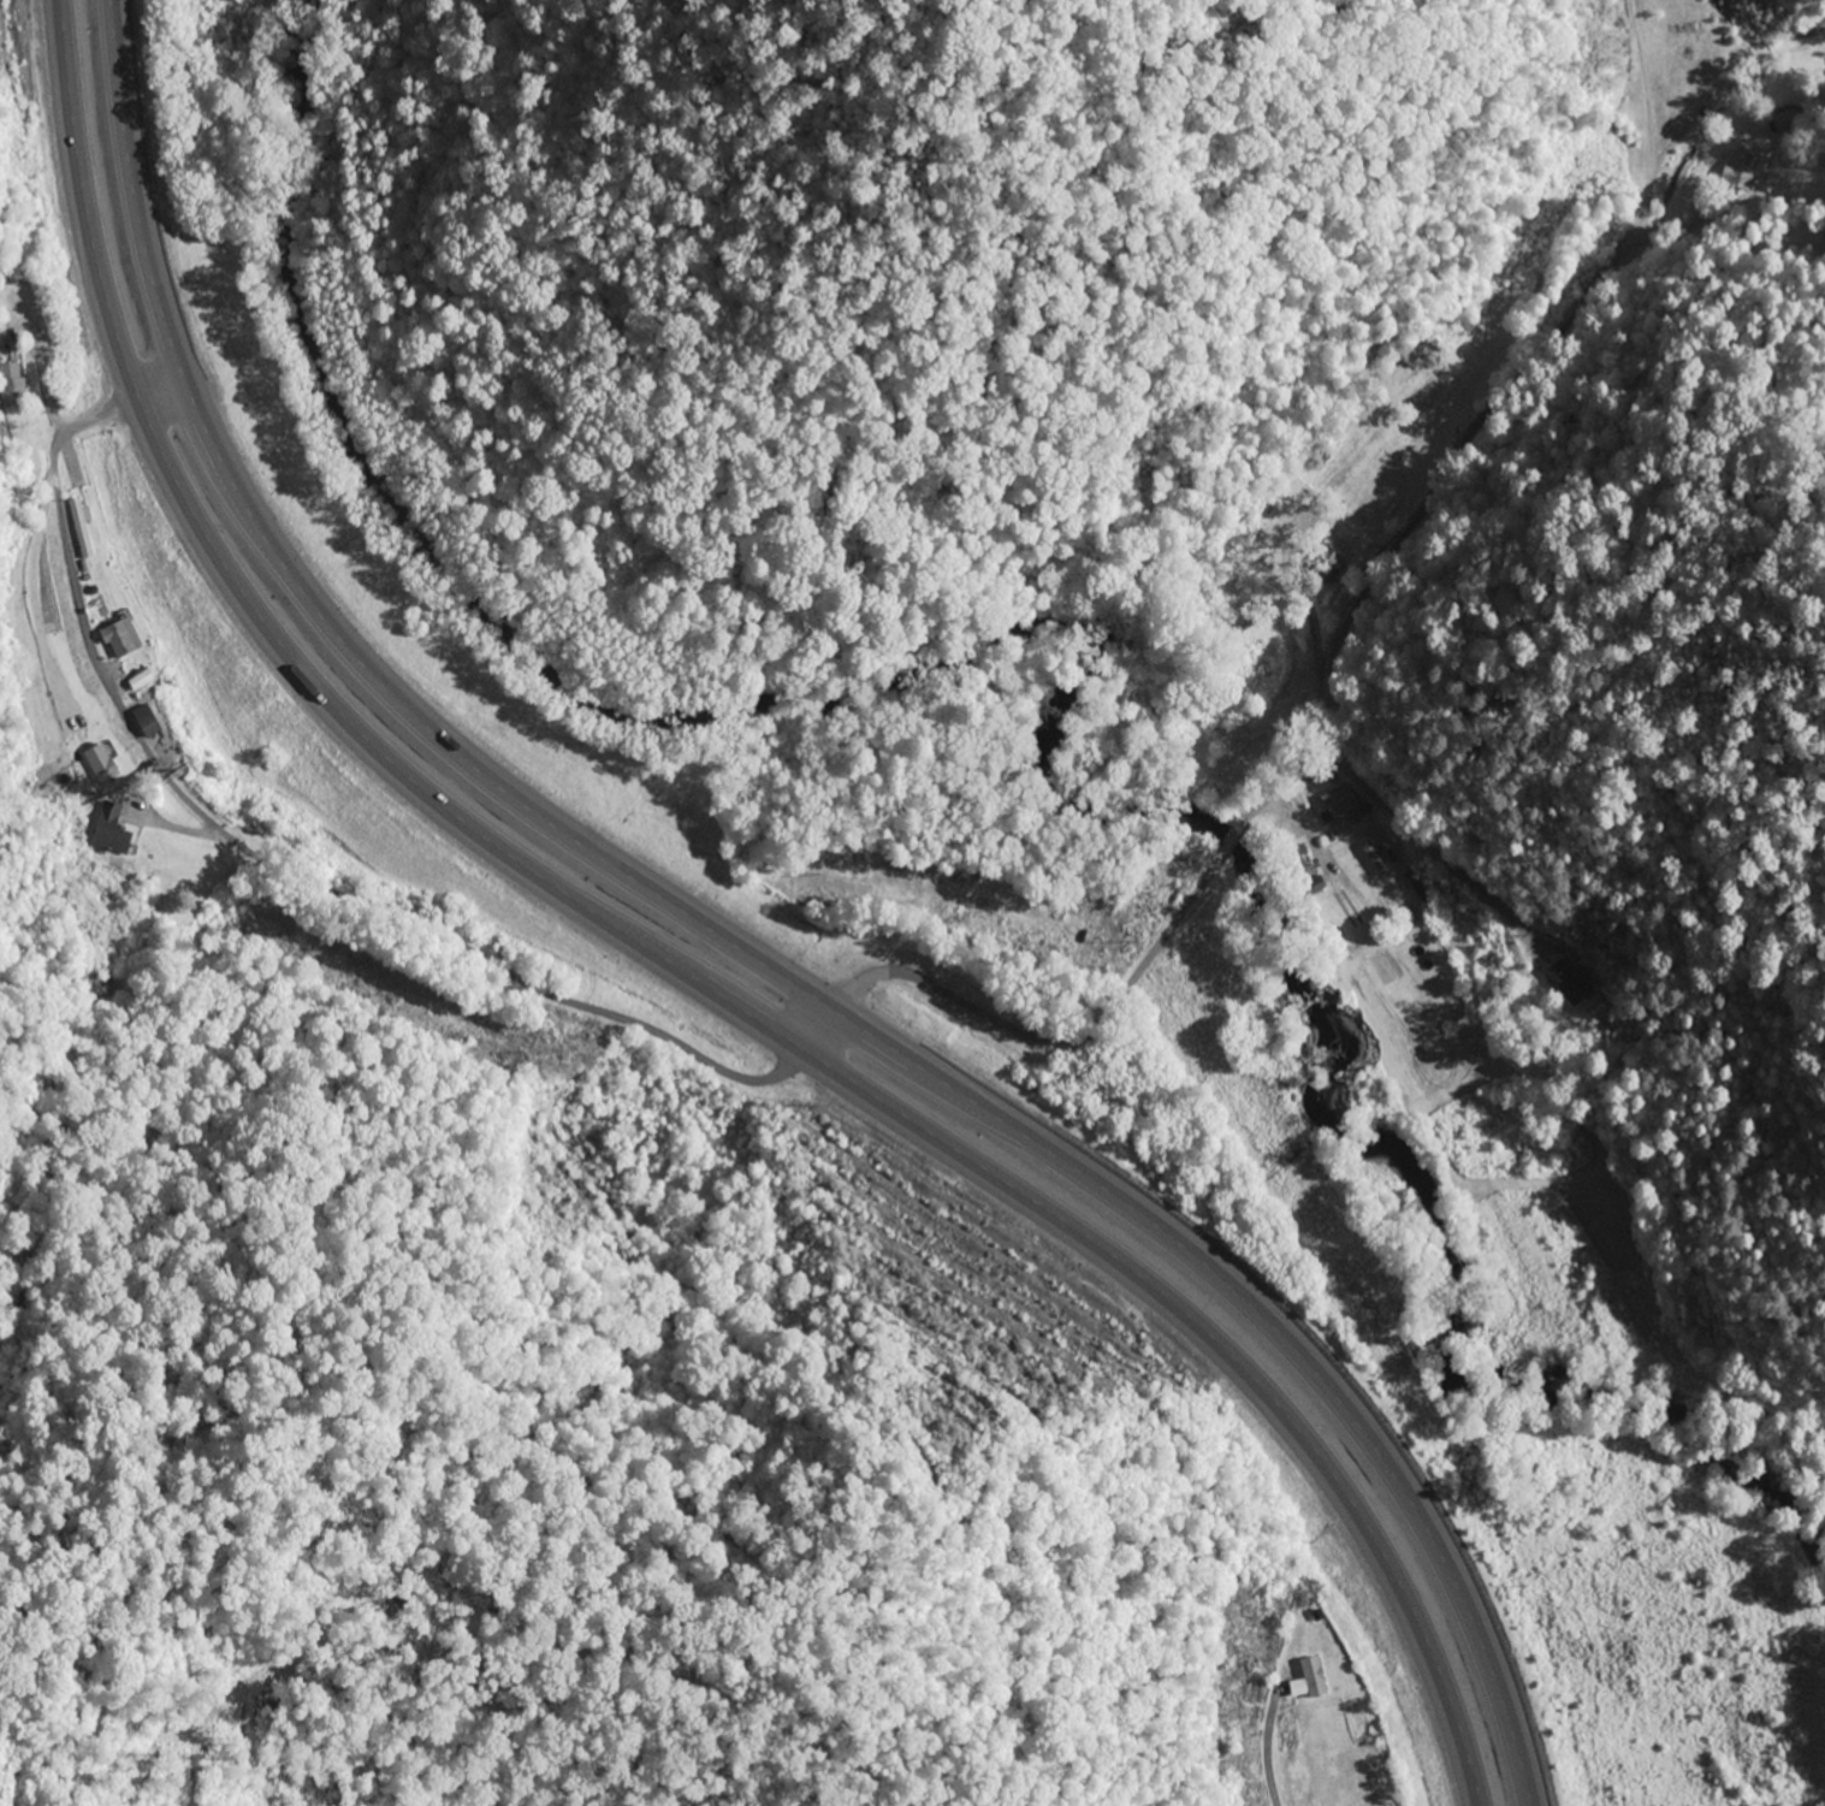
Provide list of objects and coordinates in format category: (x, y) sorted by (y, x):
building: (1782, 123)
building: (1741, 170)
building: (81, 528)
building: (1323, 566)
building: (1339, 803)
building: (1375, 859)
building: (1416, 887)
building: (1404, 917)
road: (731, 953)
road: (666, 967)
building: (1568, 984)
road: (1106, 1034)

